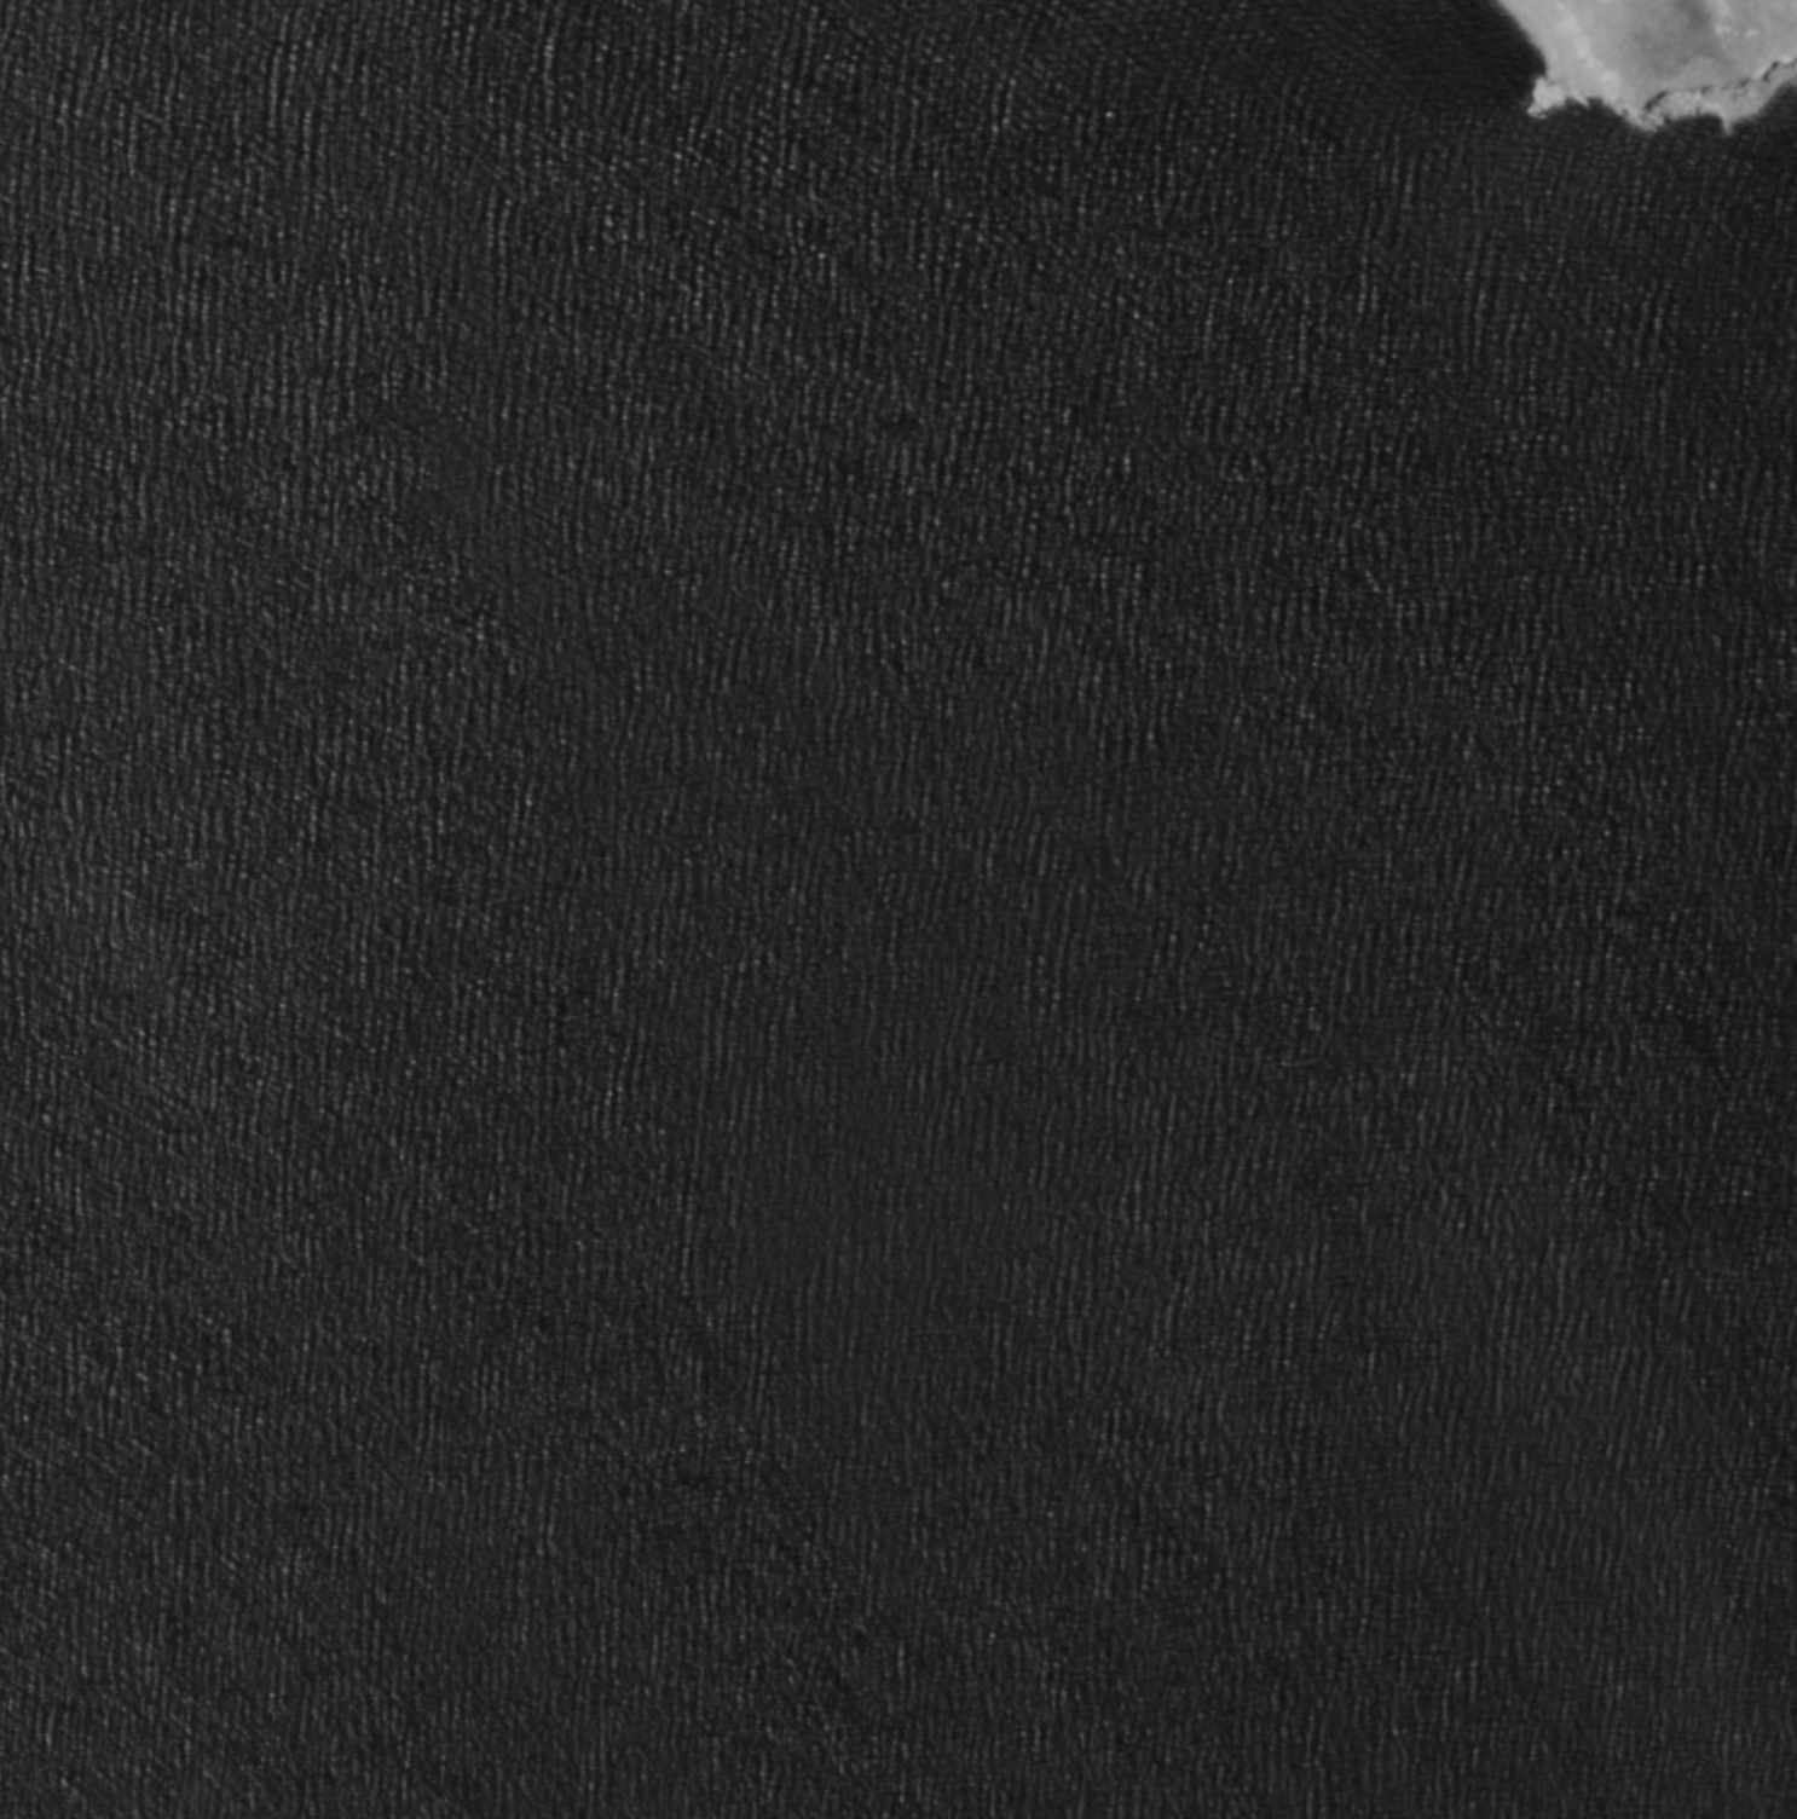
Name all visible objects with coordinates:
river: (895, 1578)

